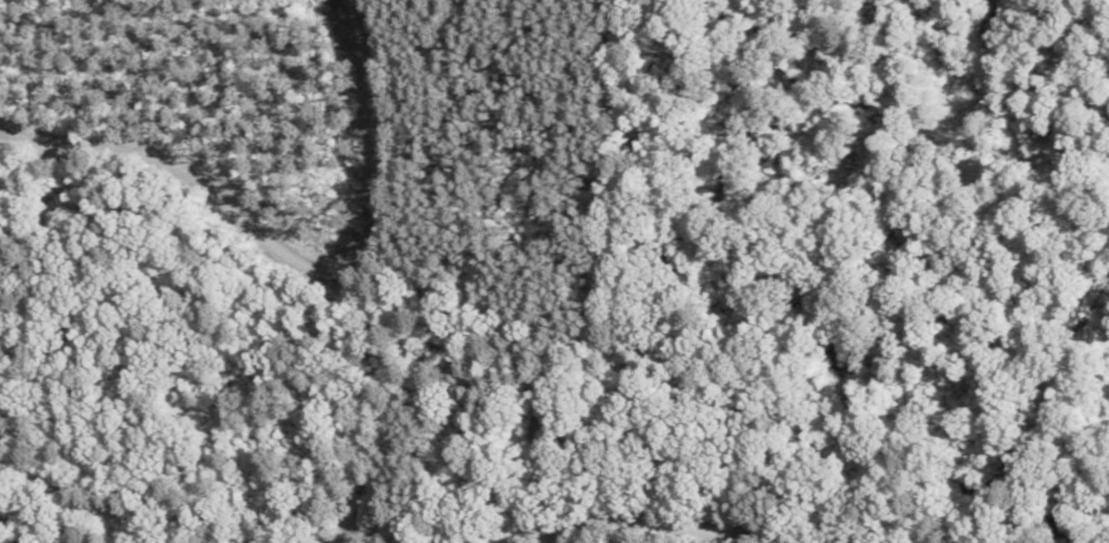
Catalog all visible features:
road: (355, 270)

